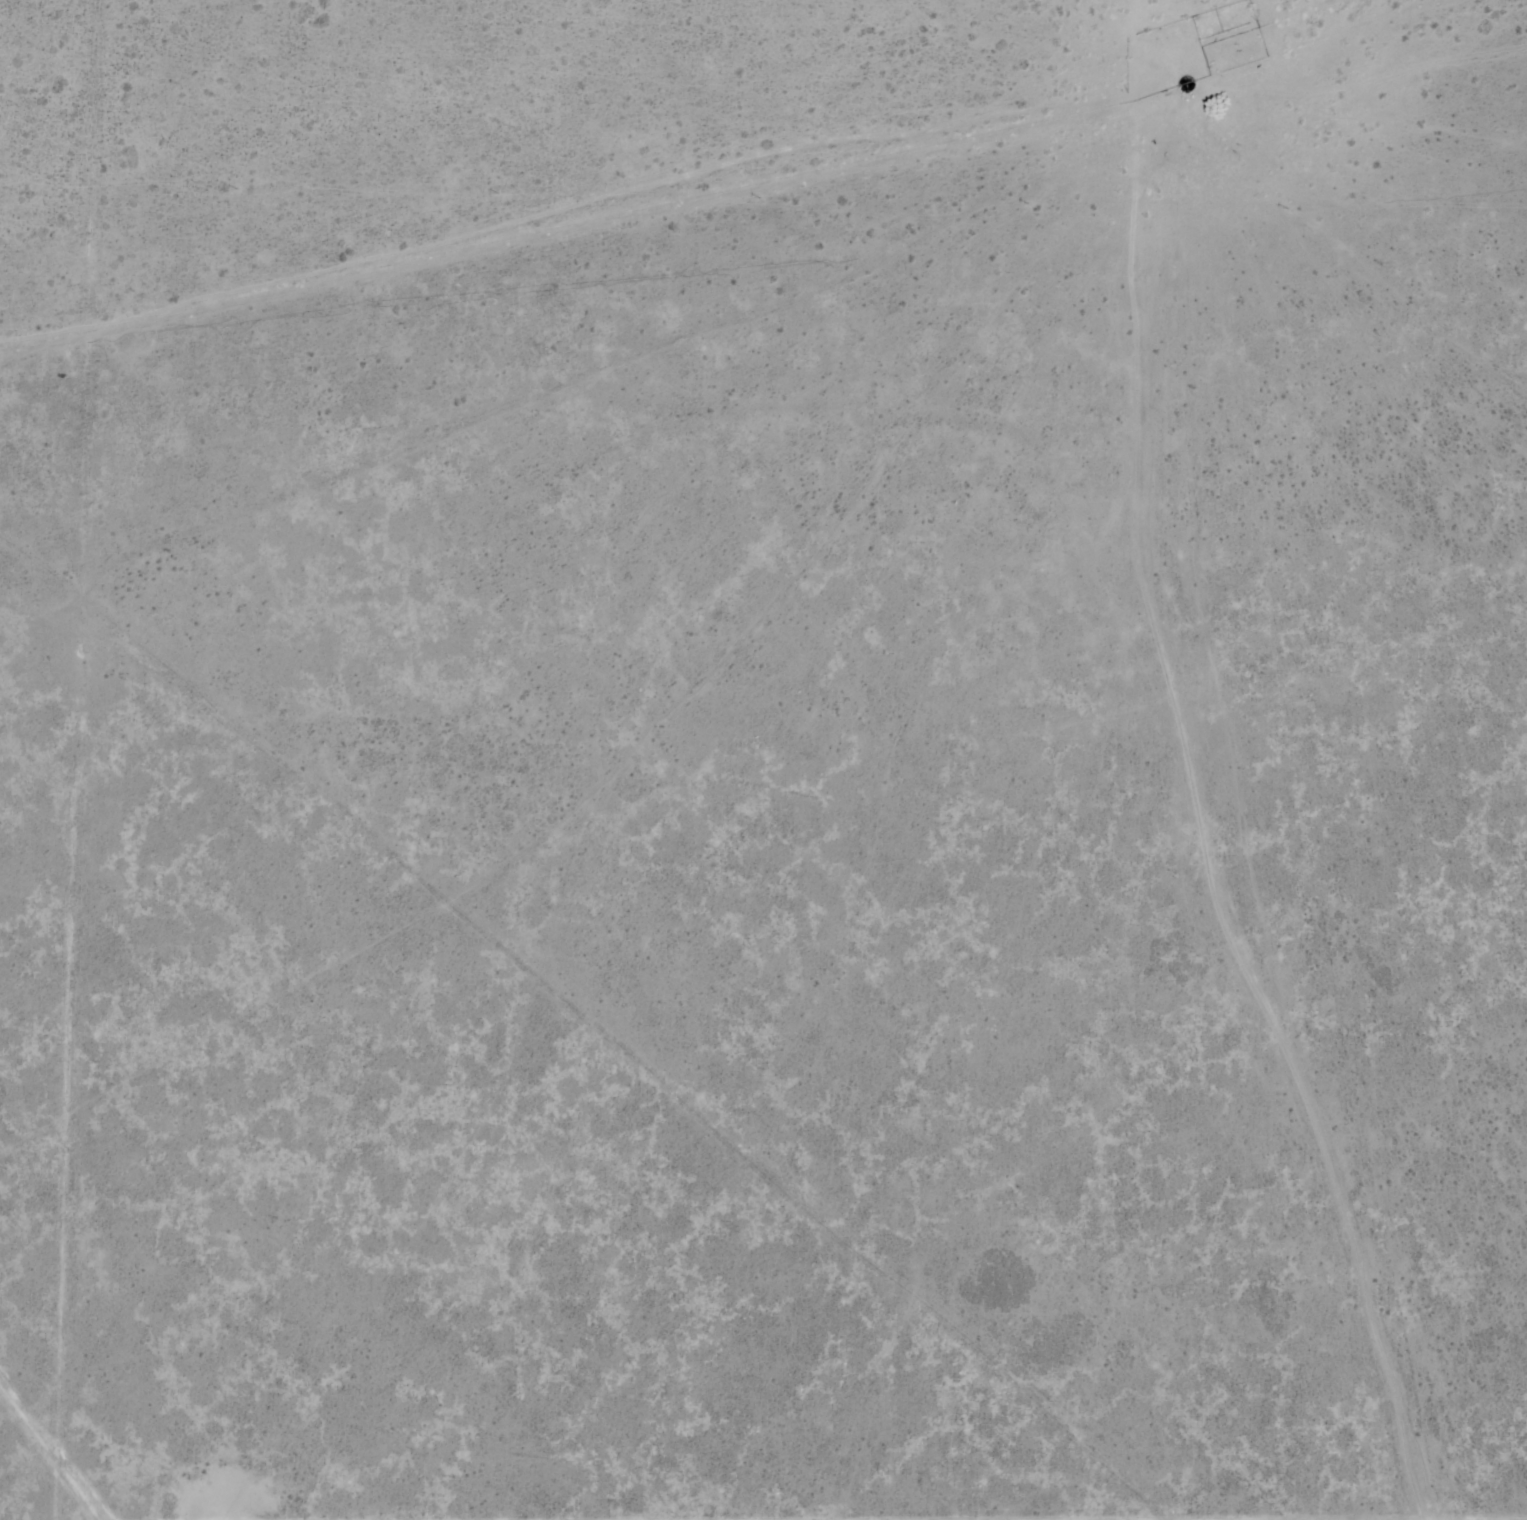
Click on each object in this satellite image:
road: (1147, 782)
road: (574, 1008)

